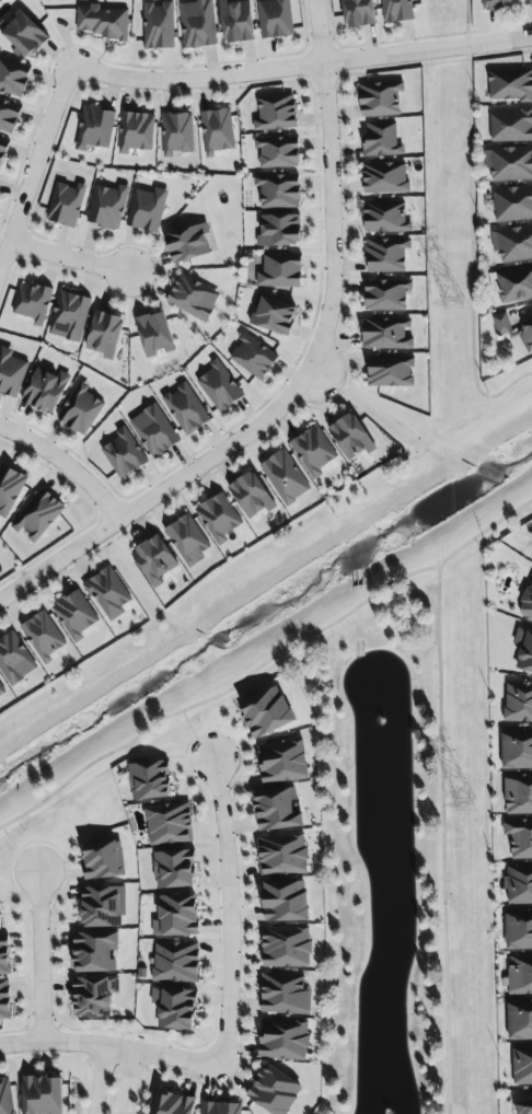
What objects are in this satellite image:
building: (528, 2)
building: (499, 4)
building: (396, 11)
building: (358, 13)
building: (275, 19)
building: (103, 22)
building: (236, 22)
building: (197, 24)
building: (158, 25)
building: (23, 33)
road: (303, 68)
building: (13, 78)
building: (510, 85)
building: (380, 98)
building: (276, 113)
building: (9, 116)
building: (510, 126)
building: (94, 128)
building: (217, 131)
building: (136, 132)
building: (176, 134)
building: (381, 140)
building: (2, 150)
building: (277, 152)
building: (509, 163)
road: (34, 167)
building: (384, 178)
building: (278, 190)
building: (512, 204)
building: (66, 205)
building: (107, 207)
building: (147, 209)
building: (385, 217)
road: (469, 229)
building: (279, 231)
building: (188, 243)
building: (514, 244)
building: (386, 255)
road: (68, 258)
building: (279, 270)
building: (514, 285)
building: (386, 294)
building: (193, 298)
building: (32, 303)
power tower: (451, 303)
building: (273, 315)
building: (68, 316)
building: (501, 324)
building: (103, 334)
building: (385, 334)
building: (525, 334)
building: (154, 335)
building: (253, 357)
building: (390, 371)
building: (11, 373)
road: (307, 376)
building: (219, 387)
building: (45, 391)
building: (185, 408)
building: (80, 409)
building: (153, 431)
building: (350, 437)
building: (313, 451)
building: (123, 454)
road: (66, 465)
building: (285, 477)
building: (9, 488)
building: (251, 496)
building: (38, 514)
building: (218, 518)
building: (187, 539)
building: (154, 560)
building: (107, 593)
building: (527, 604)
building: (74, 615)
building: (43, 636)
building: (523, 650)
building: (14, 660)
road: (265, 662)
building: (1, 691)
building: (518, 703)
building: (266, 712)
road: (195, 735)
building: (517, 749)
building: (282, 762)
building: (148, 780)
building: (518, 794)
power tower: (464, 805)
building: (276, 810)
building: (169, 824)
building: (519, 838)
road: (442, 842)
road: (19, 850)
building: (282, 855)
building: (103, 859)
building: (173, 869)
building: (519, 884)
building: (285, 901)
building: (102, 906)
road: (230, 909)
building: (176, 916)
building: (519, 930)
building: (286, 947)
building: (94, 952)
building: (3, 954)
road: (38, 956)
building: (175, 962)
building: (520, 975)
building: (285, 994)
building: (94, 996)
building: (4, 1000)
building: (174, 1008)
building: (519, 1020)
building: (284, 1040)
road: (108, 1045)
building: (522, 1065)
road: (100, 1079)
road: (127, 1081)
building: (274, 1091)
building: (42, 1094)
building: (5, 1096)
building: (172, 1103)
building: (523, 1106)
building: (220, 1107)

